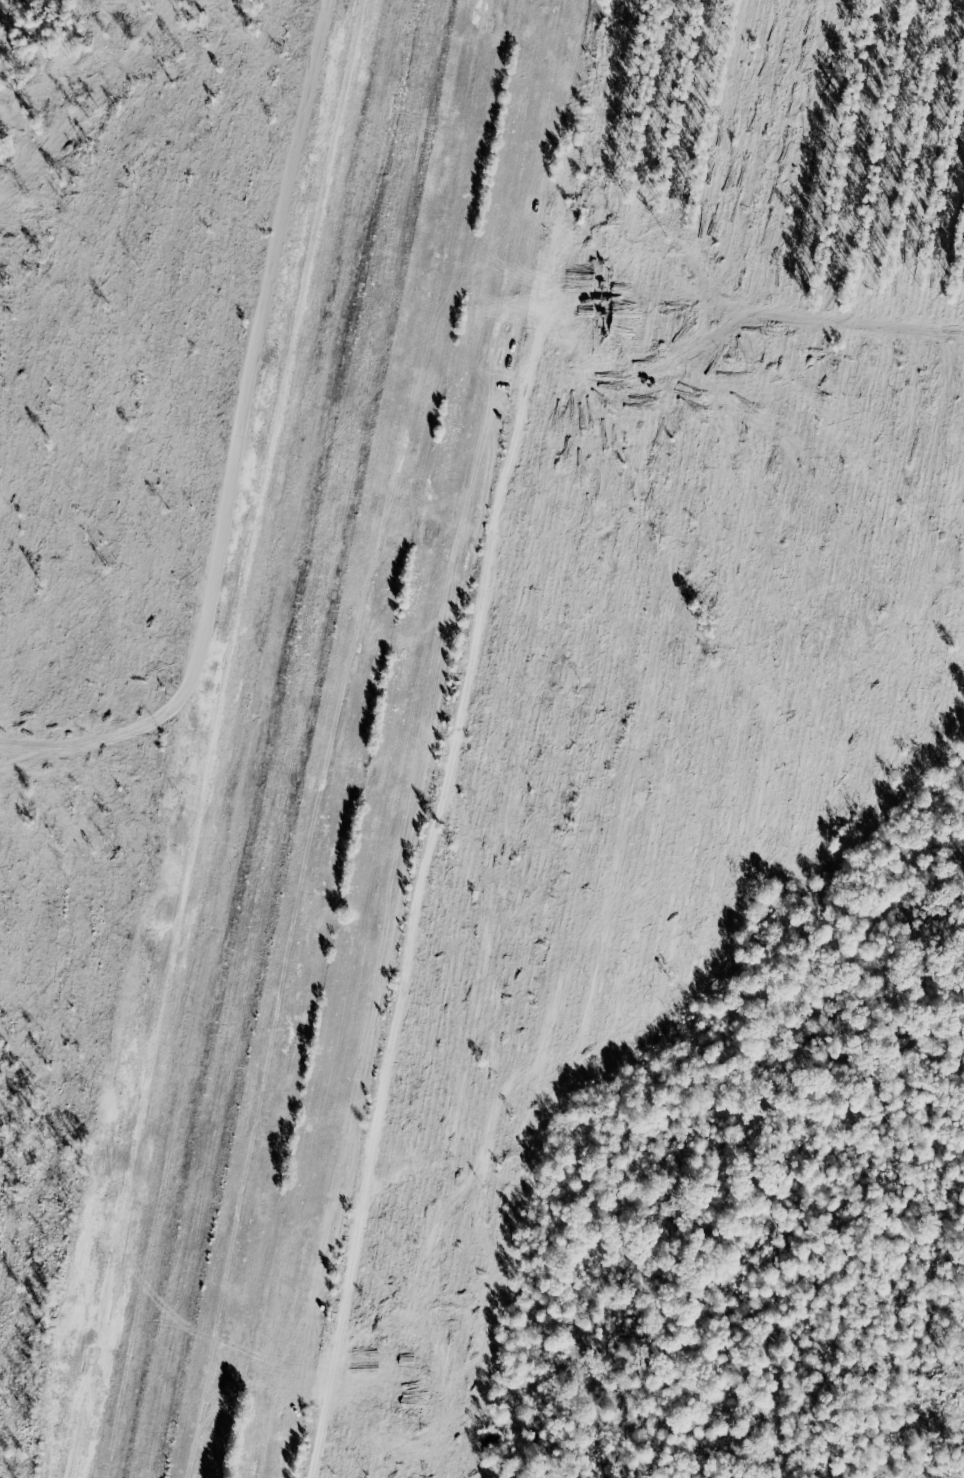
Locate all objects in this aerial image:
road: (383, 1355)

